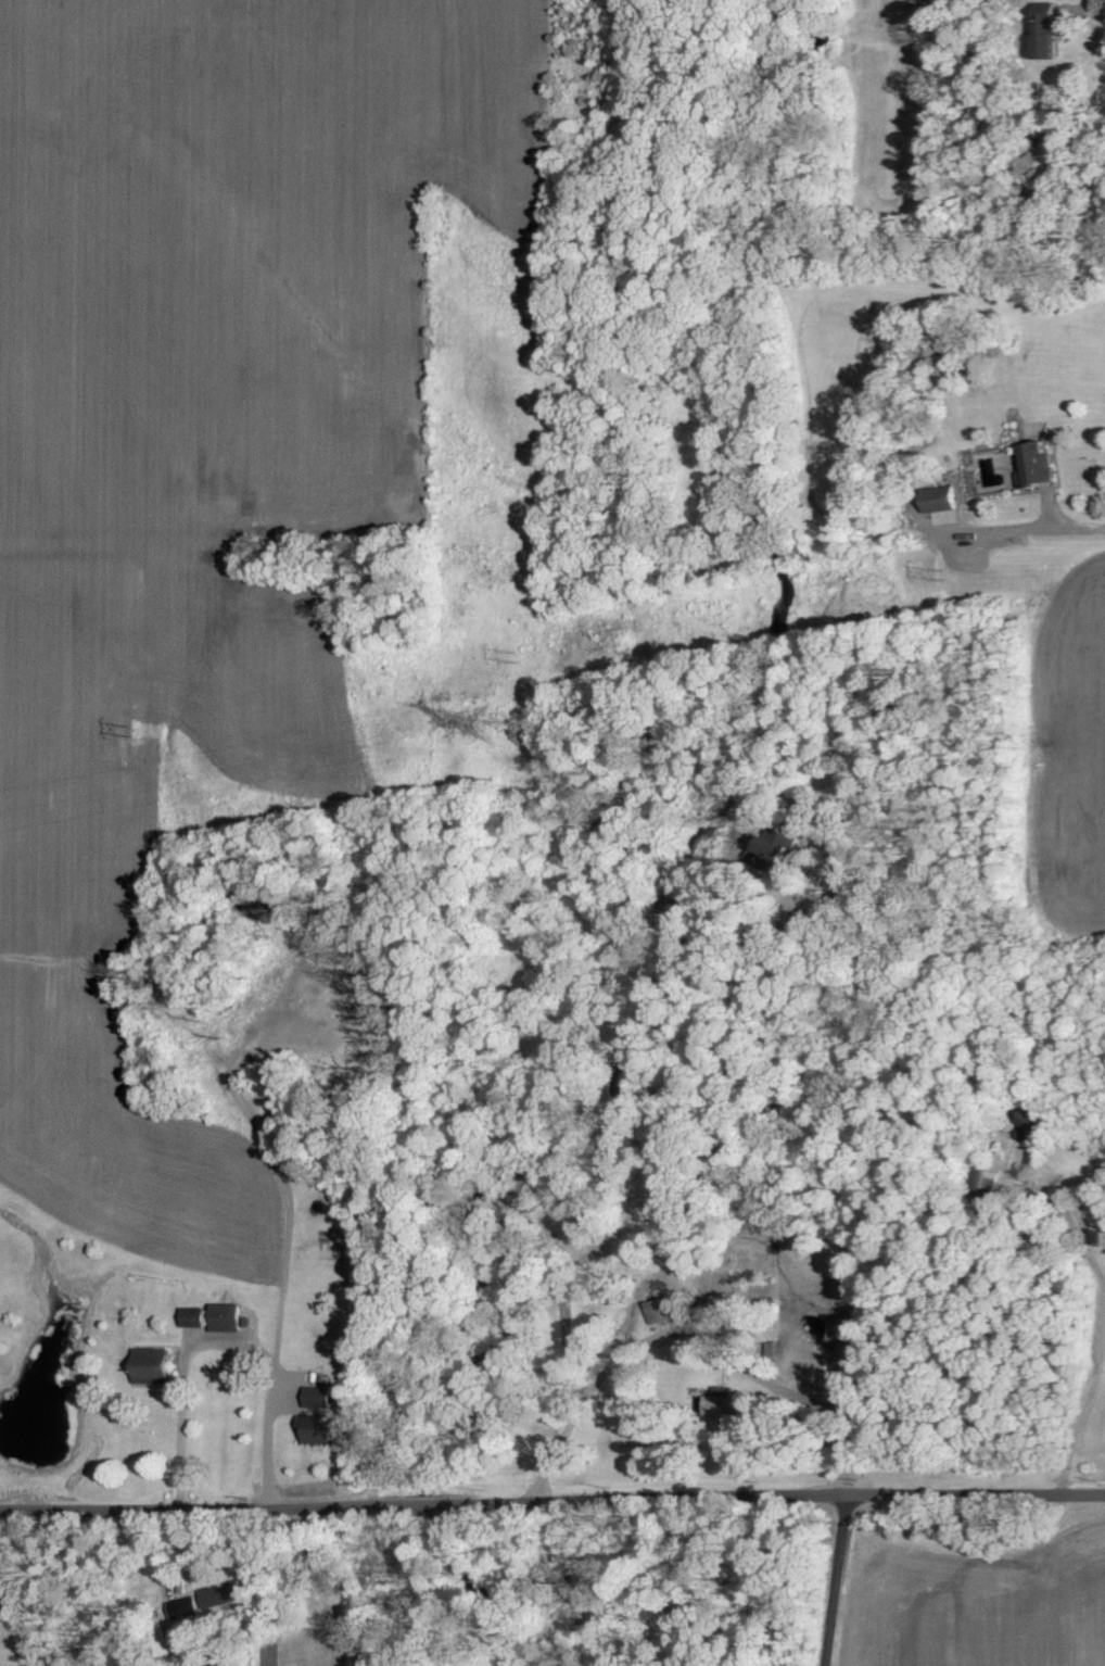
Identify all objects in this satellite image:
building: (1056, 37)
building: (1041, 466)
building: (948, 505)
power tower: (803, 608)
power tower: (518, 655)
power tower: (493, 723)
power tower: (134, 729)
building: (778, 848)
road: (753, 999)
building: (1031, 1128)
road: (649, 1275)
road: (270, 1296)
building: (664, 1311)
building: (219, 1317)
road: (693, 1330)
building: (160, 1366)
building: (323, 1398)
building: (725, 1406)
road: (169, 1413)
building: (329, 1429)
road: (776, 1492)
road: (411, 1501)
road: (187, 1503)
road: (174, 1558)
road: (836, 1578)
building: (219, 1599)

